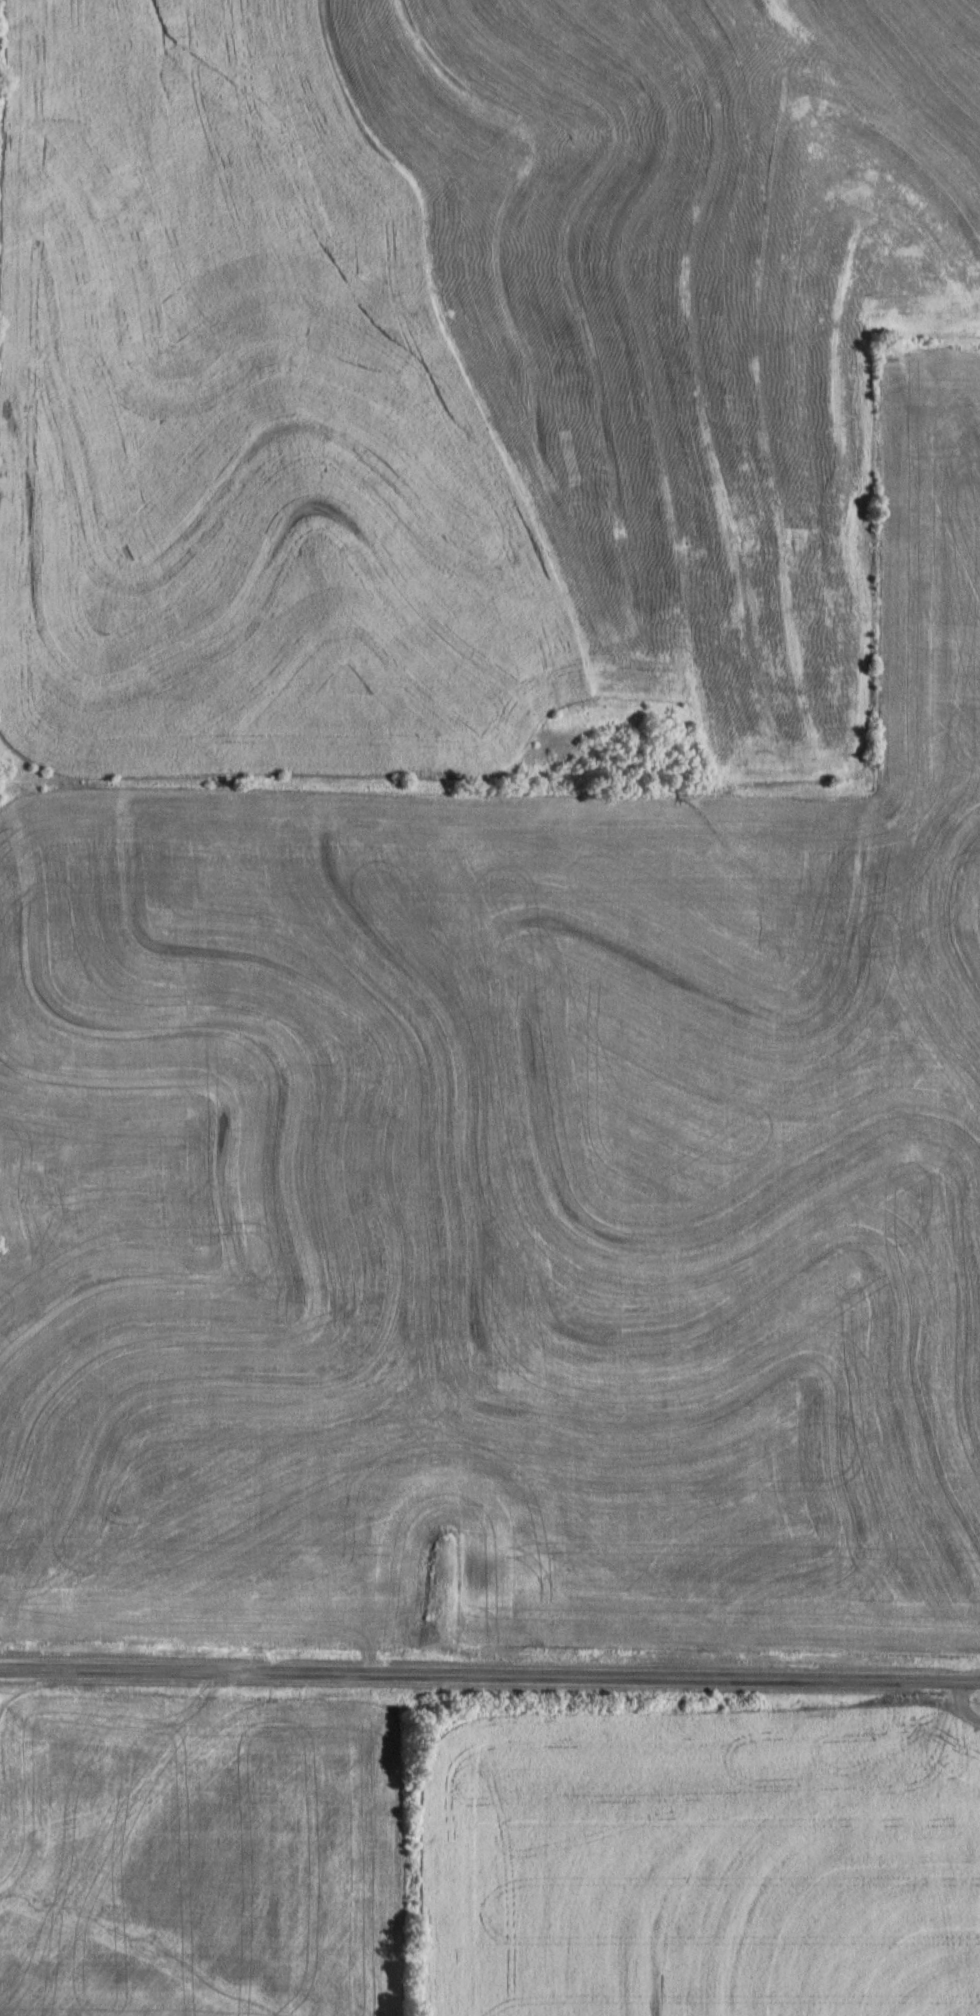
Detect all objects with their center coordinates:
road: (490, 1672)

